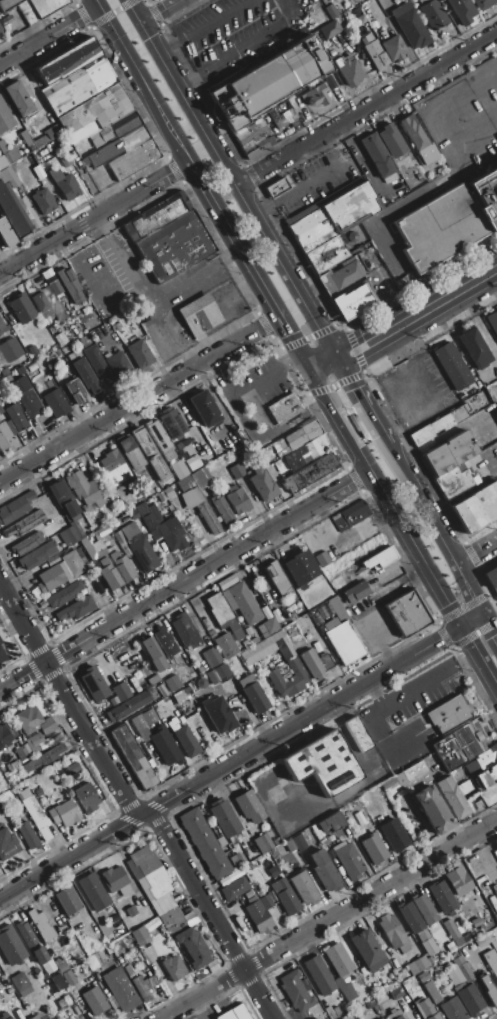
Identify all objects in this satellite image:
building: (484, 4)
traffic signals: (99, 6)
building: (33, 8)
road: (116, 10)
building: (461, 10)
building: (331, 11)
road: (159, 12)
building: (431, 14)
building: (316, 18)
traffic signals: (138, 24)
road: (202, 26)
building: (409, 26)
building: (330, 29)
building: (0, 30)
building: (0, 31)
road: (49, 35)
road: (120, 43)
road: (240, 48)
building: (394, 48)
building: (375, 55)
building: (67, 61)
building: (350, 72)
building: (267, 82)
building: (78, 87)
building: (315, 95)
building: (18, 99)
road: (365, 110)
building: (93, 114)
building: (282, 114)
building: (5, 118)
building: (124, 124)
road: (166, 124)
building: (46, 136)
building: (253, 138)
building: (25, 139)
building: (391, 141)
building: (418, 141)
building: (118, 146)
building: (5, 153)
building: (377, 156)
building: (132, 159)
building: (61, 160)
building: (496, 164)
building: (38, 172)
road: (229, 179)
road: (310, 182)
building: (64, 184)
building: (276, 188)
building: (486, 198)
building: (42, 201)
building: (12, 214)
building: (155, 216)
building: (334, 217)
road: (94, 219)
building: (439, 229)
building: (3, 231)
road: (232, 239)
building: (173, 247)
building: (326, 254)
road: (191, 274)
building: (340, 278)
building: (51, 282)
building: (70, 285)
road: (462, 287)
building: (46, 292)
road: (236, 292)
road: (117, 296)
building: (353, 303)
building: (41, 305)
building: (22, 308)
building: (199, 317)
road: (478, 321)
building: (492, 322)
building: (3, 328)
road: (162, 329)
road: (383, 335)
building: (60, 339)
road: (293, 342)
building: (476, 348)
building: (10, 350)
building: (139, 354)
building: (94, 358)
traffic signals: (335, 358)
building: (116, 363)
road: (322, 363)
building: (452, 366)
building: (32, 367)
traffic signals: (309, 368)
building: (20, 371)
building: (84, 376)
road: (335, 384)
road: (246, 389)
building: (76, 392)
building: (25, 396)
road: (341, 397)
road: (138, 399)
road: (361, 401)
building: (55, 403)
building: (285, 408)
building: (205, 409)
building: (15, 417)
building: (173, 424)
building: (438, 425)
road: (442, 435)
building: (299, 437)
building: (6, 439)
building: (160, 440)
building: (314, 448)
building: (130, 453)
building: (150, 455)
building: (450, 464)
building: (114, 469)
building: (179, 471)
building: (237, 471)
building: (311, 472)
building: (200, 478)
building: (185, 484)
building: (263, 485)
building: (85, 491)
building: (168, 492)
building: (161, 496)
road: (385, 496)
building: (63, 499)
building: (238, 501)
building: (120, 505)
building: (476, 507)
building: (16, 508)
building: (199, 508)
building: (223, 511)
building: (350, 515)
road: (325, 521)
building: (29, 522)
building: (162, 527)
road: (433, 529)
road: (353, 531)
building: (67, 537)
building: (27, 544)
building: (139, 547)
building: (93, 549)
road: (475, 551)
building: (37, 556)
building: (380, 558)
building: (71, 566)
building: (300, 568)
building: (115, 571)
building: (50, 579)
building: (278, 579)
building: (492, 579)
road: (185, 581)
building: (223, 583)
building: (340, 588)
building: (357, 593)
building: (65, 594)
building: (244, 603)
building: (76, 608)
building: (338, 609)
building: (221, 613)
building: (406, 614)
traffic signals: (481, 614)
road: (471, 620)
traffic signals: (461, 626)
road: (488, 627)
building: (268, 628)
building: (216, 629)
building: (185, 633)
building: (254, 641)
building: (342, 641)
building: (1, 642)
building: (165, 642)
road: (381, 644)
building: (225, 646)
building: (263, 648)
building: (153, 654)
building: (2, 655)
road: (479, 655)
building: (211, 657)
building: (315, 663)
building: (219, 674)
building: (287, 678)
flagpole: (460, 679)
road: (430, 680)
building: (173, 683)
building: (94, 684)
building: (121, 692)
road: (375, 694)
building: (256, 698)
road: (69, 701)
building: (128, 707)
building: (218, 714)
building: (448, 715)
building: (27, 720)
building: (138, 722)
building: (47, 726)
road: (379, 732)
building: (358, 735)
building: (143, 736)
building: (4, 738)
building: (186, 741)
building: (33, 743)
building: (165, 746)
building: (457, 748)
building: (22, 753)
building: (134, 757)
building: (44, 758)
road: (231, 764)
building: (323, 764)
building: (75, 767)
building: (414, 772)
building: (487, 776)
building: (394, 784)
building: (39, 793)
building: (86, 797)
building: (451, 797)
building: (249, 807)
building: (433, 809)
building: (34, 813)
building: (64, 814)
building: (223, 818)
building: (331, 823)
building: (315, 830)
building: (393, 835)
building: (27, 836)
building: (299, 842)
building: (204, 843)
building: (263, 843)
building: (496, 843)
building: (7, 844)
building: (290, 846)
building: (373, 849)
building: (251, 851)
building: (347, 861)
building: (324, 872)
building: (148, 873)
building: (229, 878)
building: (114, 879)
building: (458, 881)
building: (304, 888)
building: (235, 889)
building: (93, 892)
building: (282, 892)
building: (248, 894)
building: (442, 898)
building: (67, 901)
building: (266, 902)
building: (162, 904)
building: (424, 910)
building: (130, 911)
road: (214, 915)
building: (441, 915)
building: (257, 916)
building: (410, 917)
road: (331, 920)
building: (173, 921)
building: (40, 924)
building: (159, 930)
building: (394, 933)
building: (453, 933)
building: (422, 935)
building: (140, 936)
building: (31, 943)
building: (10, 946)
building: (428, 947)
building: (192, 948)
building: (367, 951)
building: (338, 960)
building: (92, 962)
building: (491, 962)
building: (418, 965)
building: (62, 968)
building: (174, 968)
building: (463, 969)
building: (319, 976)
building: (423, 977)
building: (68, 978)
building: (58, 983)
building: (21, 984)
building: (144, 987)
building: (120, 990)
building: (346, 990)
building: (296, 992)
building: (432, 992)
building: (489, 992)
building: (396, 993)
building: (468, 998)
building: (380, 999)
building: (94, 1001)
building: (452, 1009)
building: (426, 1010)
building: (234, 1012)
building: (336, 1012)
building: (329, 1013)
building: (4, 1015)
building: (394, 1015)
building: (34, 1017)
building: (40, 1018)
building: (47, 1018)
building: (380, 1018)
building: (381, 1018)

